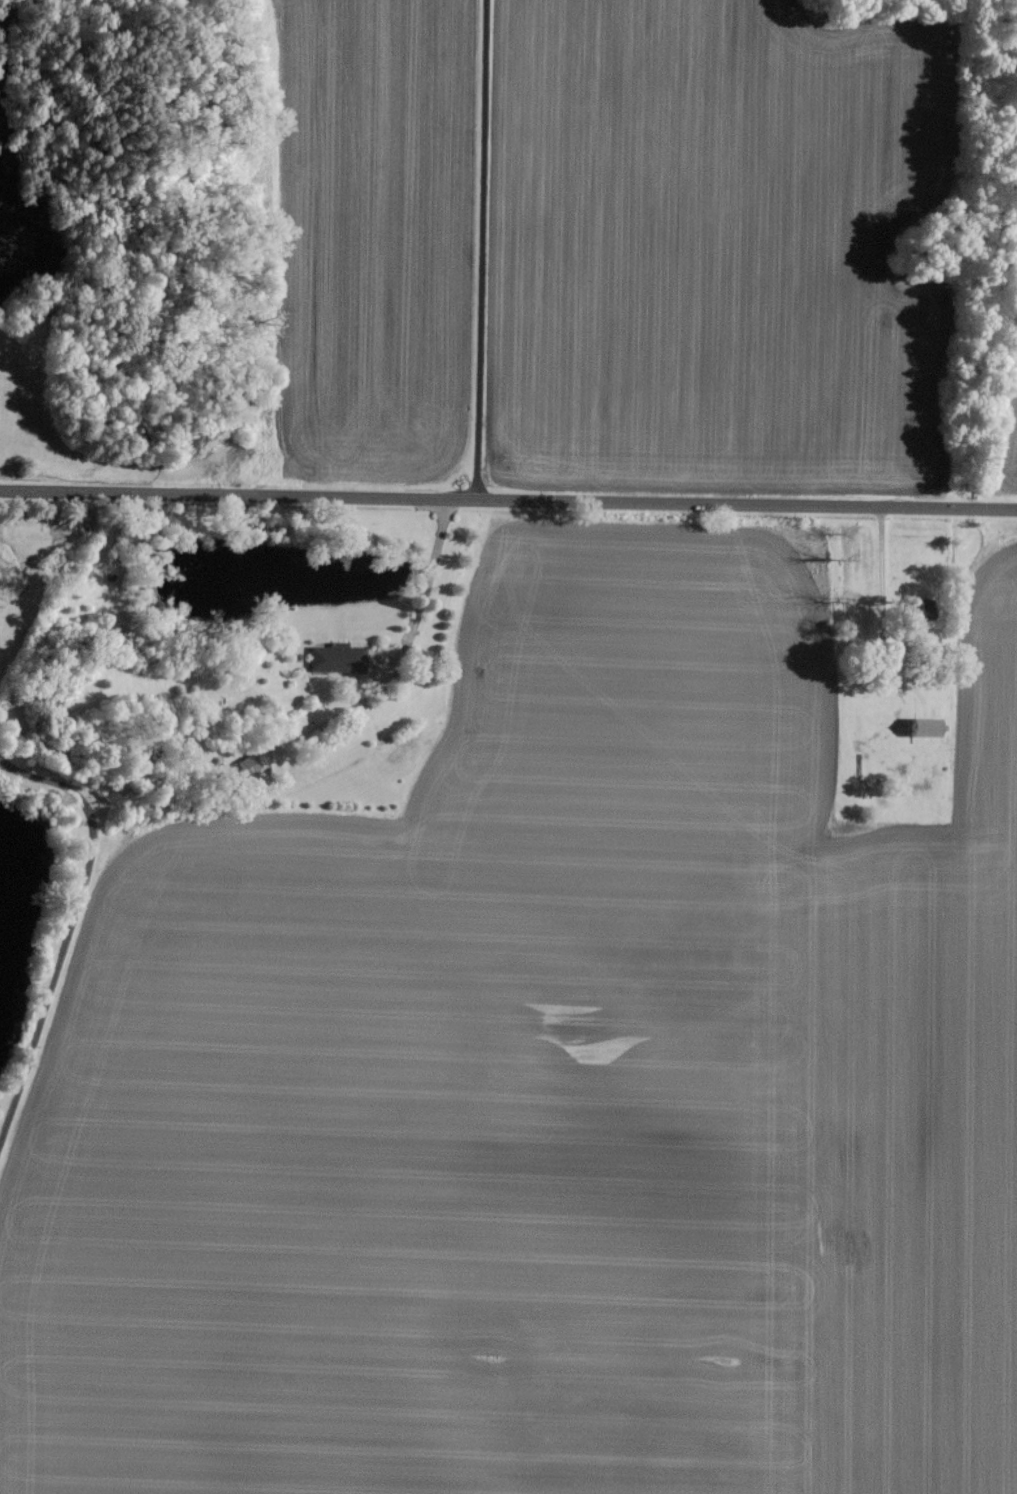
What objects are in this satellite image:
road: (483, 250)
road: (508, 500)
road: (432, 570)
building: (338, 656)
building: (930, 726)
road: (70, 932)

